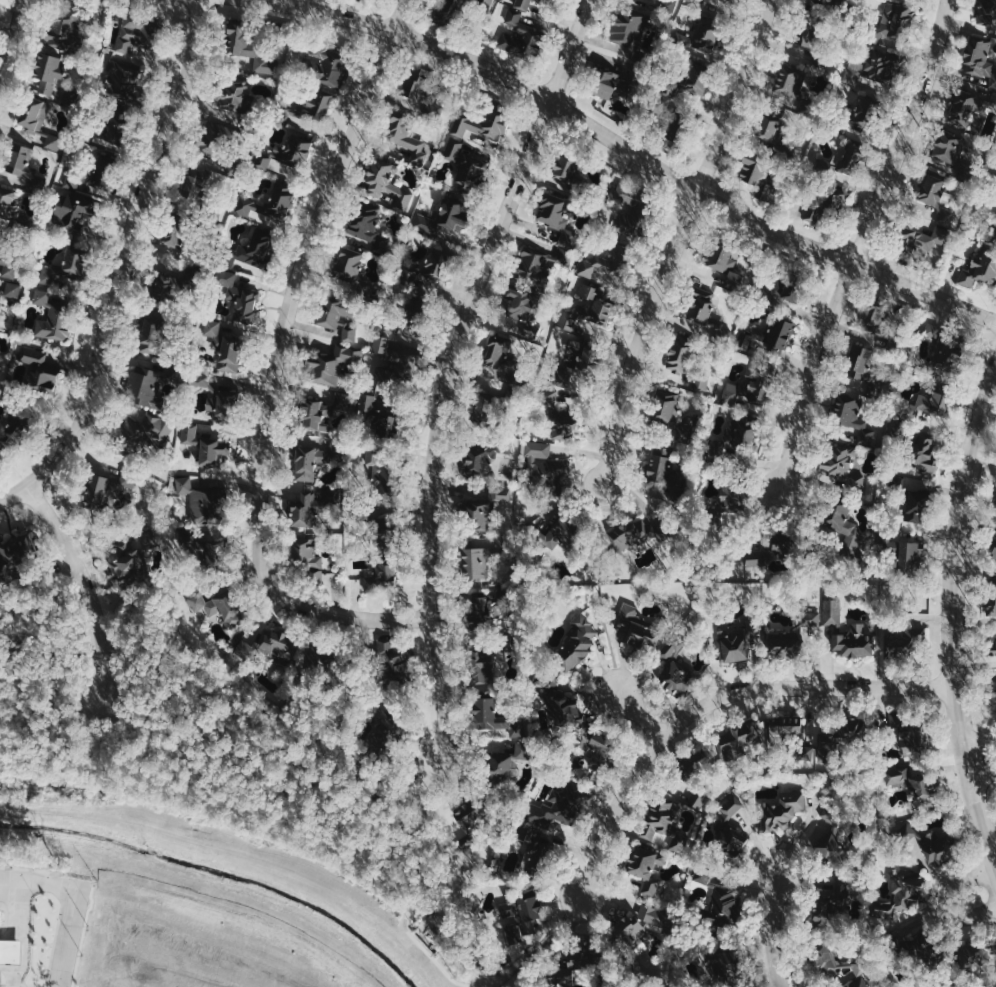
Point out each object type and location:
building: (732, 0)
building: (827, 0)
building: (522, 4)
building: (483, 5)
building: (533, 5)
building: (668, 6)
building: (448, 8)
building: (987, 12)
building: (893, 25)
building: (61, 33)
building: (133, 33)
building: (629, 33)
building: (518, 34)
road: (12, 37)
building: (806, 37)
building: (698, 41)
building: (251, 51)
building: (980, 61)
building: (323, 67)
building: (871, 71)
building: (45, 73)
building: (697, 77)
building: (121, 78)
building: (607, 83)
building: (787, 83)
building: (421, 88)
building: (235, 98)
building: (664, 98)
building: (315, 103)
building: (966, 109)
building: (860, 116)
building: (34, 119)
building: (770, 122)
building: (479, 125)
building: (107, 131)
building: (405, 136)
building: (210, 138)
building: (949, 148)
road: (628, 150)
building: (288, 151)
building: (846, 158)
building: (21, 164)
building: (465, 164)
building: (562, 172)
building: (756, 175)
building: (386, 184)
building: (198, 191)
building: (935, 198)
building: (838, 201)
building: (5, 202)
building: (268, 205)
building: (70, 213)
building: (813, 215)
building: (364, 220)
building: (443, 220)
building: (625, 224)
building: (182, 238)
building: (568, 238)
building: (921, 240)
road: (680, 241)
road: (862, 242)
building: (0, 250)
building: (250, 250)
building: (347, 263)
road: (120, 265)
building: (723, 265)
building: (10, 268)
building: (604, 268)
building: (978, 271)
building: (434, 272)
building: (59, 275)
building: (171, 284)
building: (12, 290)
building: (0, 294)
building: (776, 294)
building: (238, 297)
building: (518, 308)
building: (700, 311)
building: (587, 312)
building: (336, 316)
building: (876, 322)
building: (53, 325)
building: (211, 328)
building: (159, 331)
building: (933, 331)
building: (770, 337)
building: (383, 345)
building: (498, 353)
building: (228, 354)
building: (678, 354)
building: (947, 356)
building: (332, 366)
building: (863, 366)
building: (397, 368)
road: (453, 368)
road: (272, 370)
building: (38, 372)
building: (200, 380)
building: (702, 380)
building: (147, 384)
building: (567, 387)
building: (747, 392)
building: (487, 399)
building: (224, 404)
building: (930, 406)
building: (666, 408)
building: (320, 410)
building: (852, 415)
building: (376, 416)
building: (13, 428)
building: (140, 433)
building: (738, 445)
building: (205, 446)
building: (921, 455)
building: (482, 456)
building: (308, 462)
building: (658, 465)
building: (545, 466)
building: (376, 467)
building: (840, 469)
building: (105, 488)
building: (502, 494)
building: (203, 501)
building: (727, 504)
building: (914, 507)
building: (305, 509)
building: (475, 518)
building: (845, 530)
building: (558, 532)
building: (629, 533)
building: (378, 536)
building: (205, 550)
building: (993, 551)
building: (14, 555)
building: (908, 556)
building: (767, 558)
building: (131, 560)
building: (309, 560)
building: (474, 563)
building: (379, 575)
road: (83, 585)
building: (991, 604)
building: (219, 607)
building: (480, 610)
building: (813, 620)
road: (950, 625)
building: (636, 627)
building: (846, 631)
building: (908, 631)
building: (576, 641)
building: (780, 643)
building: (267, 644)
building: (733, 644)
building: (992, 644)
building: (487, 658)
building: (392, 666)
building: (675, 666)
building: (317, 669)
building: (543, 680)
building: (992, 688)
building: (484, 702)
road: (710, 702)
building: (563, 709)
road: (638, 718)
building: (894, 719)
building: (787, 728)
building: (848, 729)
building: (386, 730)
building: (914, 738)
road: (979, 739)
building: (738, 740)
building: (598, 749)
building: (502, 764)
road: (269, 776)
road: (983, 776)
building: (909, 780)
building: (699, 801)
building: (559, 807)
building: (781, 810)
building: (471, 819)
building: (663, 824)
building: (728, 833)
road: (432, 836)
building: (926, 838)
building: (829, 846)
building: (535, 852)
building: (643, 868)
building: (703, 876)
road: (40, 881)
building: (900, 894)
road: (946, 899)
building: (722, 905)
building: (521, 913)
building: (639, 926)
road: (772, 932)
road: (16, 933)
road: (71, 937)
road: (539, 944)
building: (9, 951)
building: (976, 953)
building: (822, 959)
building: (724, 963)
building: (586, 964)
building: (859, 983)

